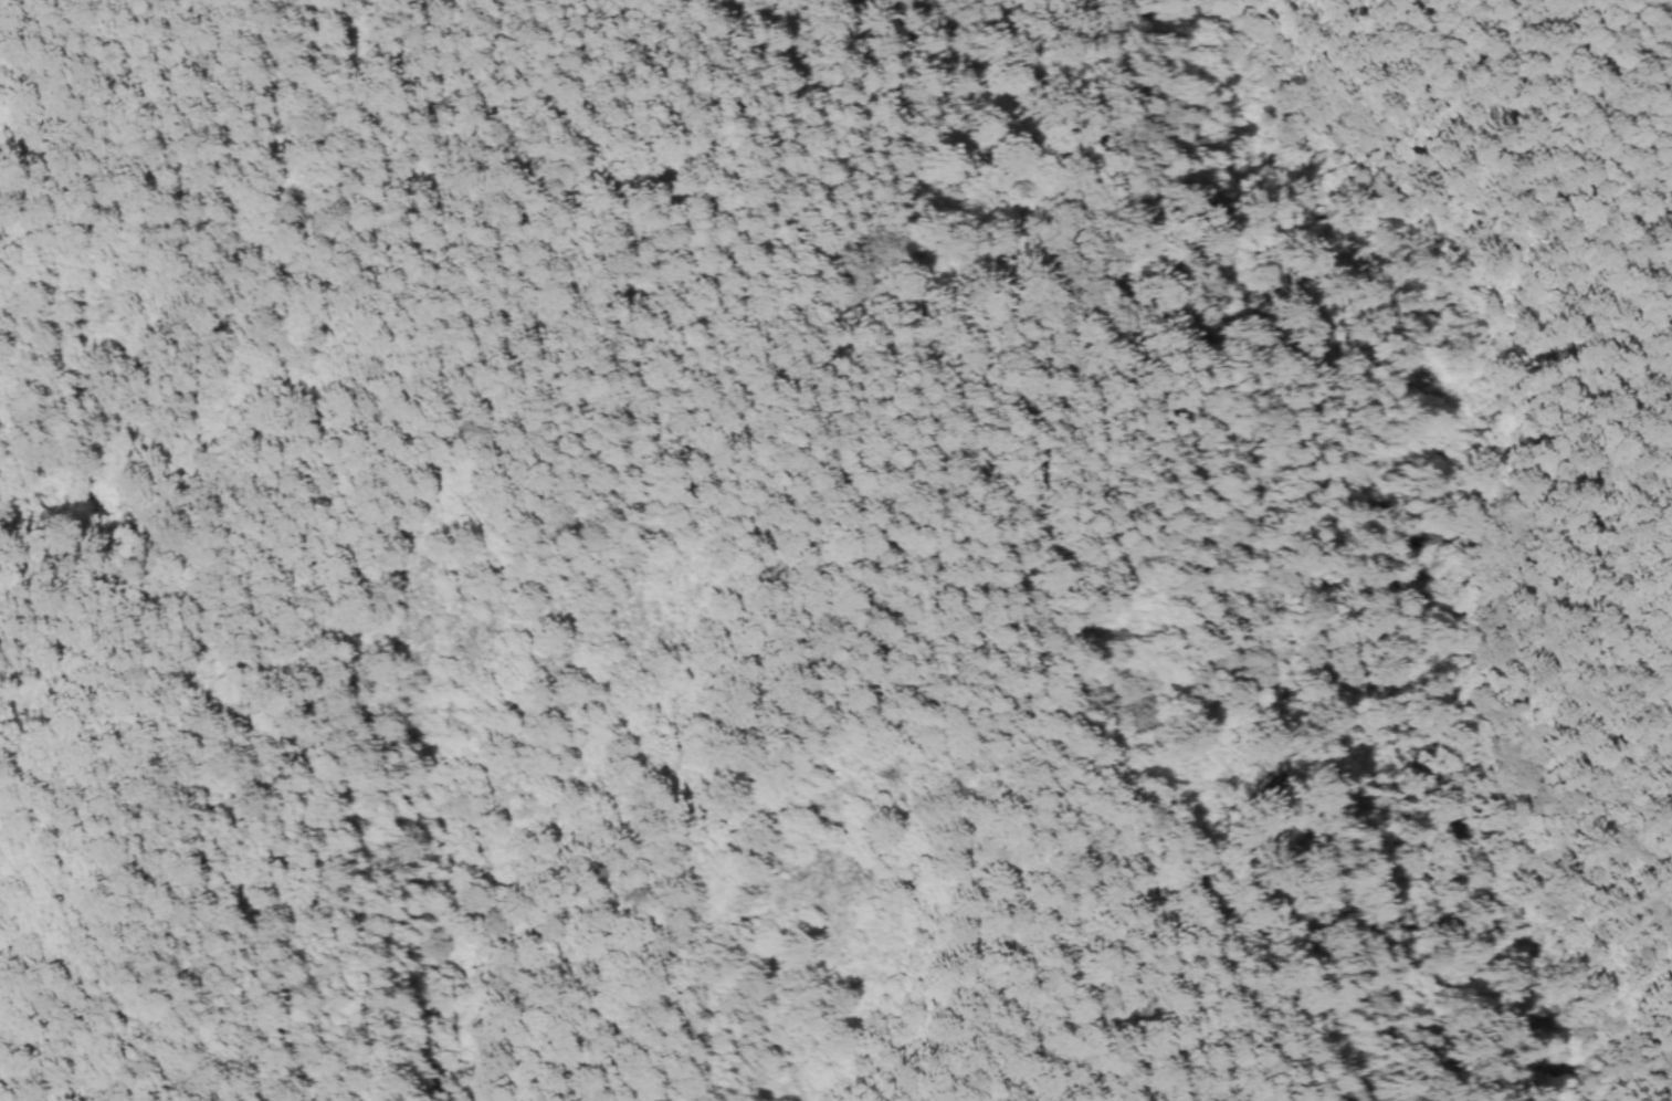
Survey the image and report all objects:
road: (948, 376)

